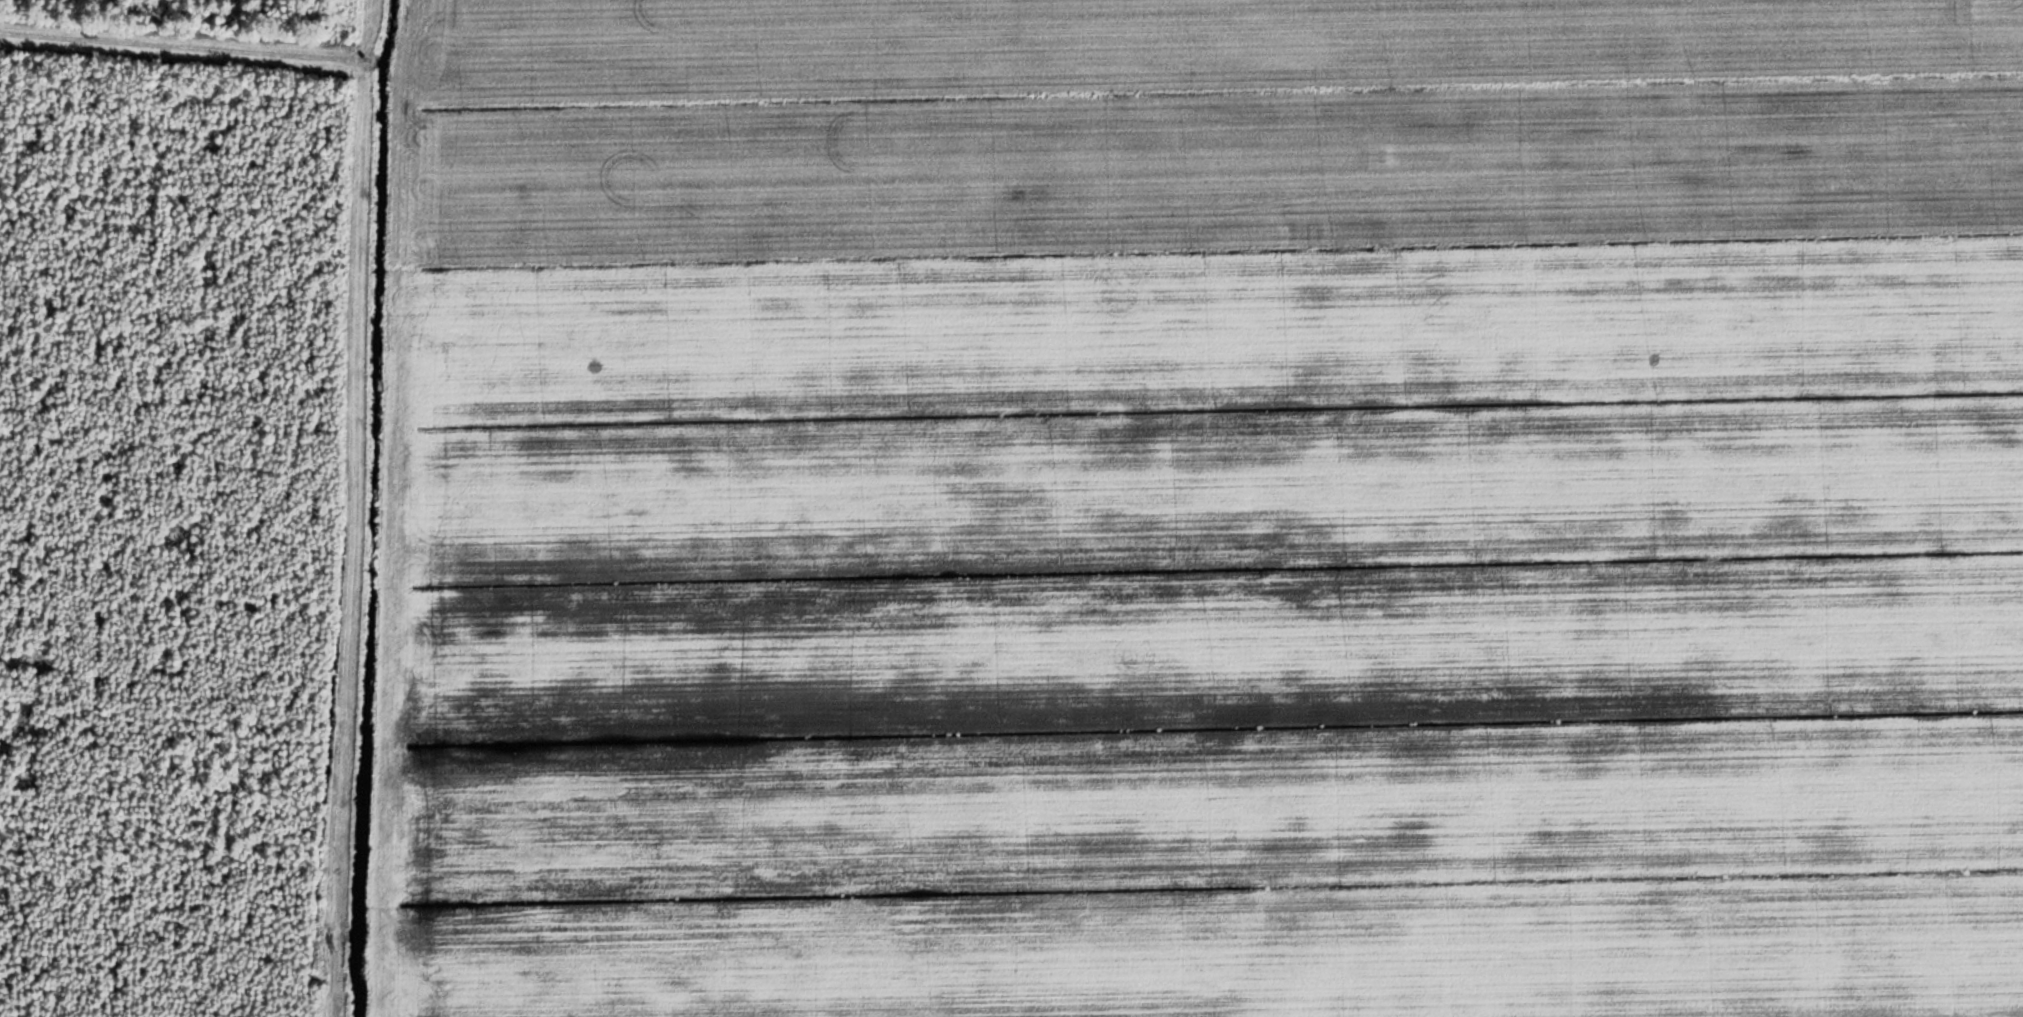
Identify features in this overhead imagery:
road: (1011, 115)

